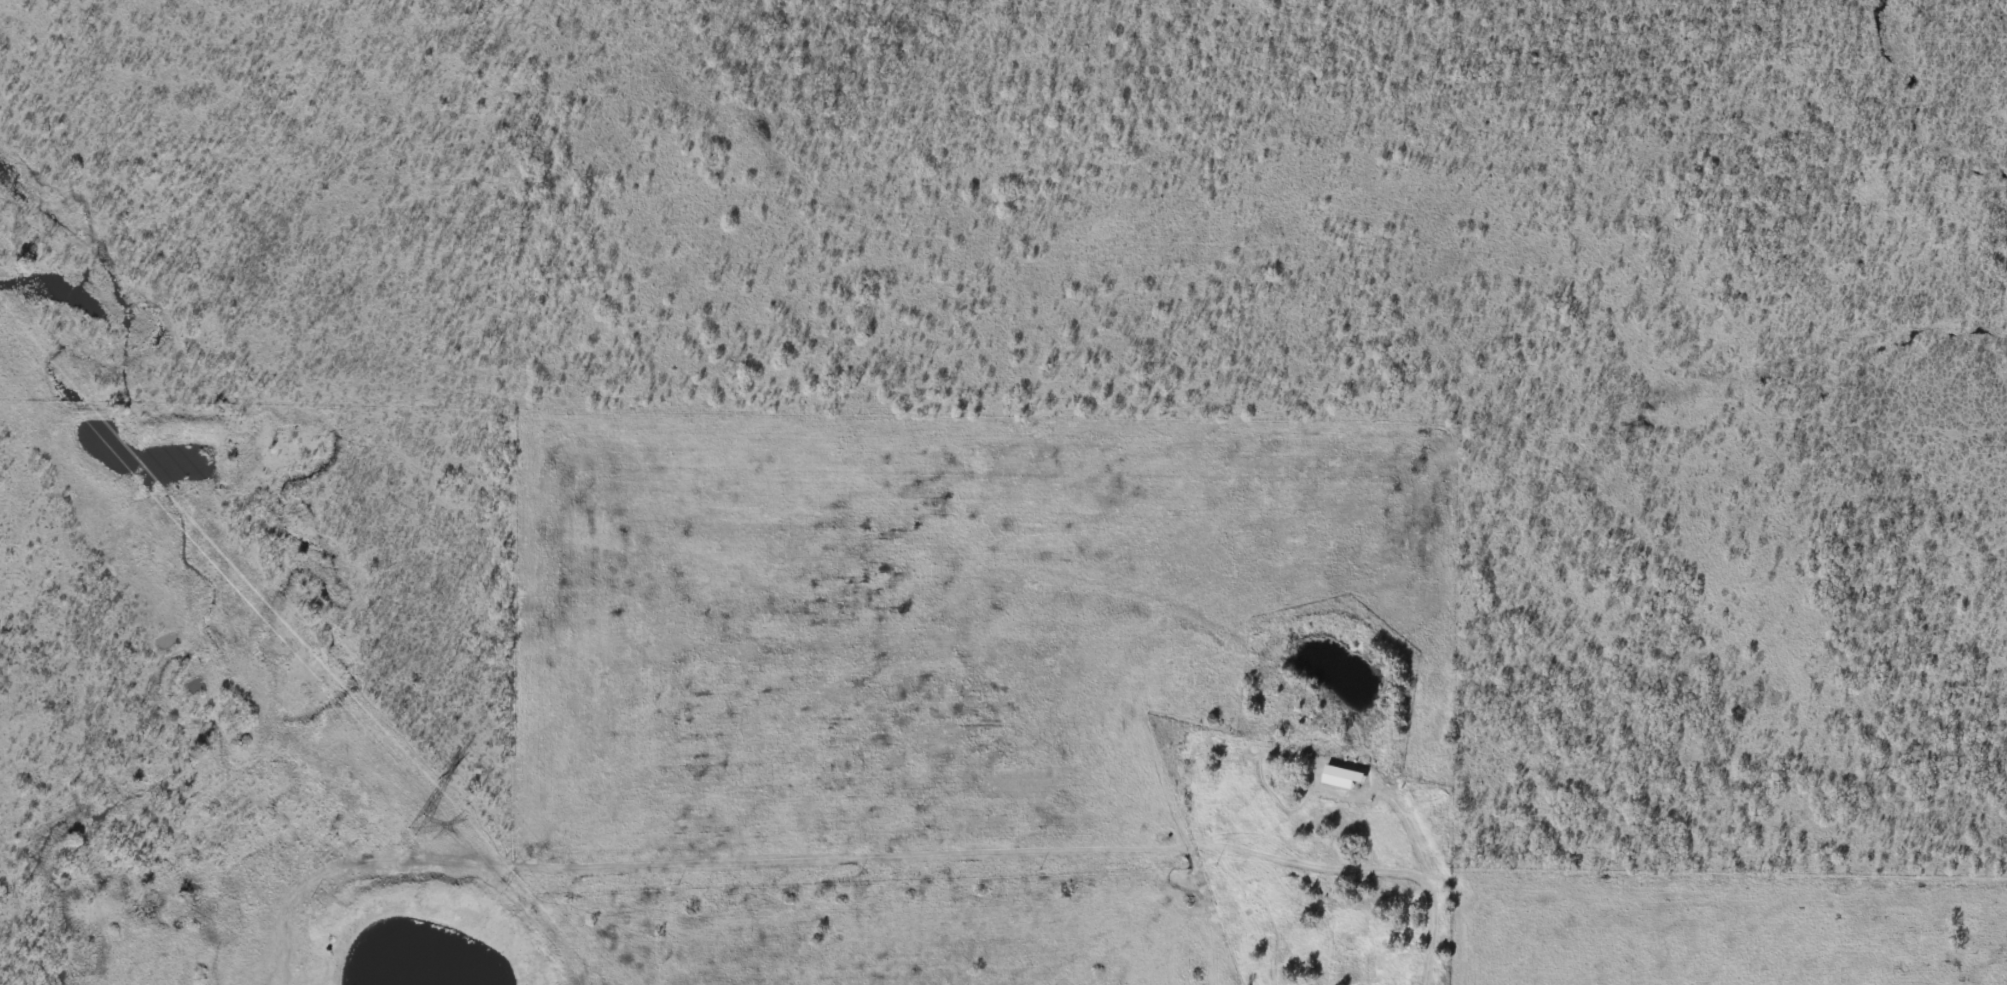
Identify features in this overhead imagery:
power tower: (416, 825)
building: (1235, 844)
building: (1245, 883)
building: (1380, 931)

